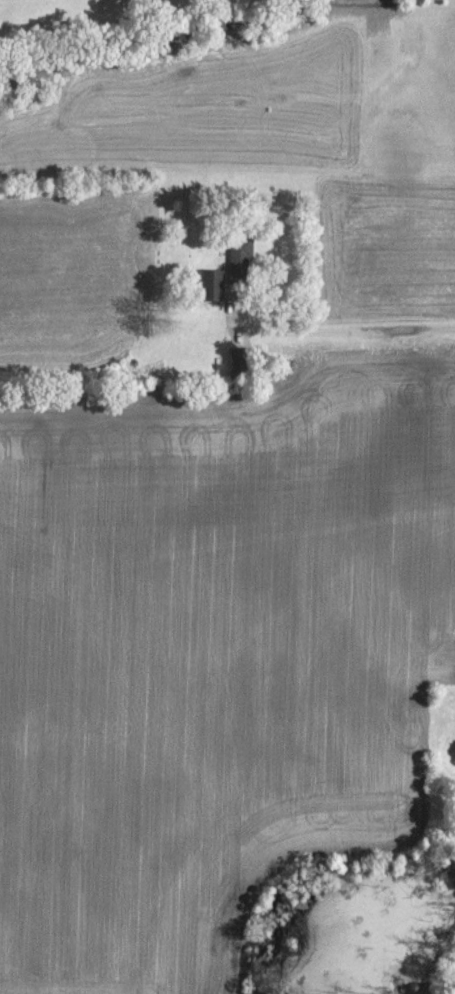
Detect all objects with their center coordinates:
building: (241, 257)
building: (212, 285)
road: (339, 326)
building: (240, 363)

